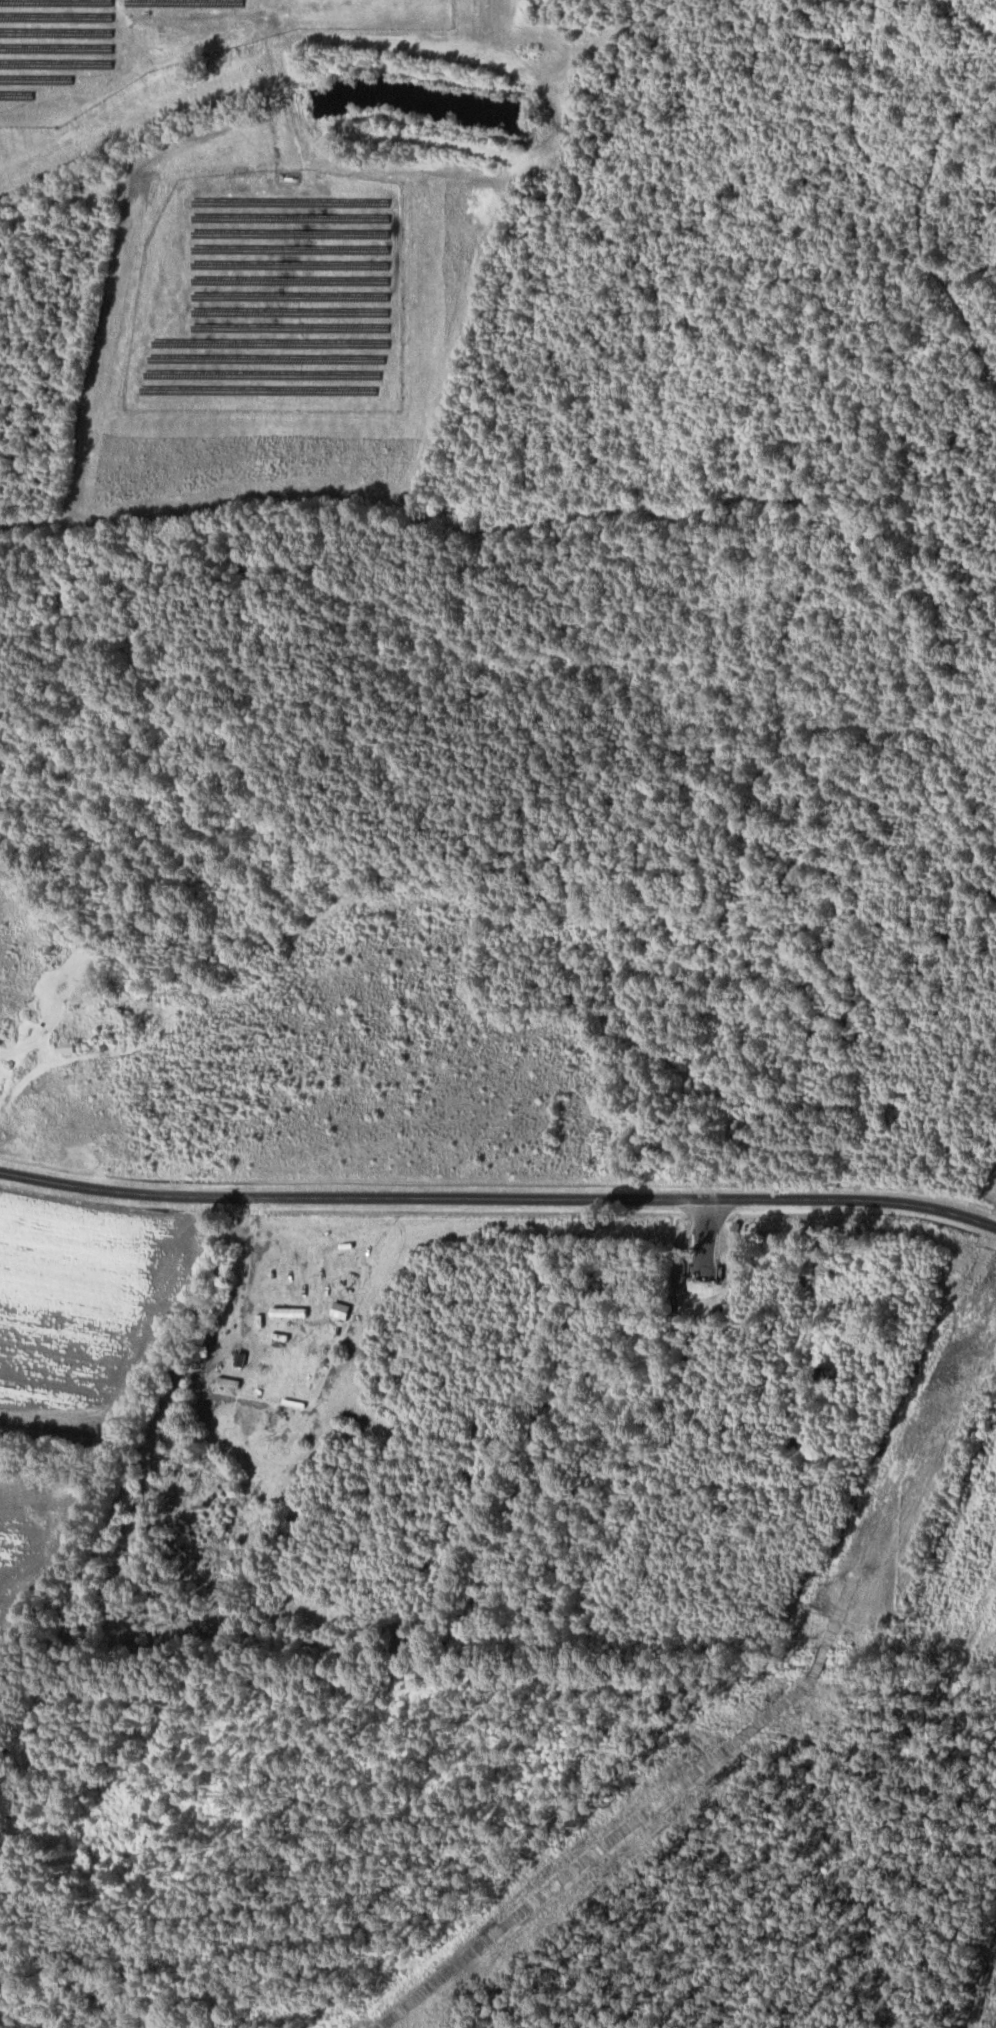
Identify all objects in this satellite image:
road: (497, 1204)
building: (285, 1311)

